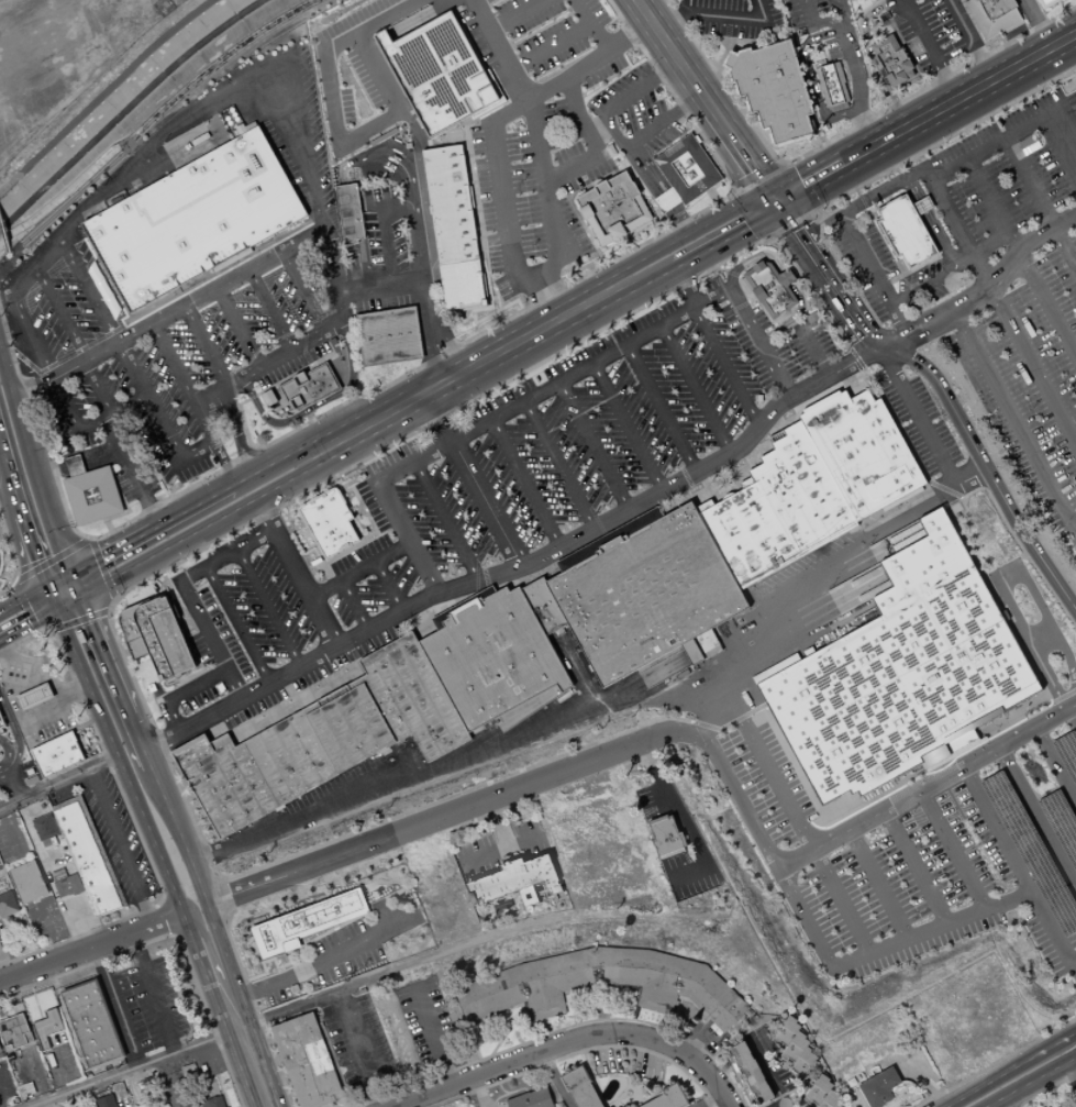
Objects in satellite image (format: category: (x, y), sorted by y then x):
building: (1047, 3)
road: (684, 7)
road: (1041, 11)
road: (514, 14)
road: (844, 14)
building: (995, 15)
road: (724, 18)
road: (591, 23)
road: (817, 23)
road: (1036, 23)
road: (726, 38)
road: (970, 38)
road: (550, 45)
road: (930, 48)
road: (500, 51)
road: (823, 51)
road: (724, 56)
road: (909, 56)
road: (872, 57)
building: (894, 60)
road: (219, 63)
road: (378, 69)
building: (440, 74)
road: (811, 77)
road: (1065, 79)
road: (329, 84)
building: (832, 85)
road: (858, 88)
building: (775, 89)
road: (624, 99)
road: (706, 99)
road: (956, 99)
road: (302, 117)
road: (664, 121)
road: (600, 131)
road: (818, 131)
road: (1018, 133)
road: (842, 135)
road: (941, 142)
road: (594, 144)
road: (653, 165)
road: (783, 165)
building: (688, 169)
road: (342, 170)
road: (643, 171)
road: (761, 178)
road: (805, 182)
road: (591, 185)
road: (735, 189)
road: (797, 190)
road: (64, 196)
road: (674, 197)
road: (714, 197)
traffic signals: (773, 200)
road: (476, 201)
building: (667, 201)
road: (665, 203)
building: (450, 204)
road: (1040, 204)
road: (62, 206)
road: (946, 206)
building: (614, 209)
road: (490, 210)
road: (678, 210)
building: (351, 212)
road: (503, 212)
road: (816, 213)
road: (756, 214)
building: (193, 220)
road: (580, 221)
road: (680, 221)
road: (791, 223)
building: (905, 232)
road: (385, 233)
road: (728, 237)
road: (679, 239)
road: (884, 239)
road: (1021, 258)
road: (752, 261)
road: (923, 264)
road: (423, 268)
road: (830, 272)
road: (215, 275)
road: (786, 279)
road: (816, 280)
road: (931, 280)
road: (378, 286)
road: (639, 287)
road: (686, 287)
building: (466, 288)
building: (773, 288)
road: (89, 290)
road: (556, 290)
road: (980, 291)
road: (304, 292)
road: (536, 301)
road: (502, 309)
road: (271, 310)
road: (62, 316)
road: (168, 316)
road: (791, 319)
road: (239, 329)
building: (389, 336)
road: (628, 344)
road: (206, 346)
road: (450, 347)
road: (813, 350)
road: (432, 355)
road: (174, 364)
road: (726, 367)
road: (7, 370)
road: (465, 370)
road: (296, 374)
road: (401, 378)
road: (56, 381)
road: (97, 388)
road: (696, 389)
building: (301, 391)
road: (7, 396)
road: (254, 397)
road: (317, 405)
road: (662, 408)
road: (1016, 418)
road: (157, 419)
road: (206, 422)
road: (244, 423)
road: (927, 424)
road: (628, 427)
road: (236, 430)
road: (594, 446)
building: (863, 451)
road: (101, 455)
road: (279, 455)
road: (224, 461)
road: (988, 462)
road: (75, 464)
building: (75, 465)
road: (559, 465)
road: (51, 471)
road: (132, 471)
road: (364, 471)
road: (10, 476)
road: (5, 478)
road: (473, 478)
road: (526, 484)
road: (38, 486)
building: (93, 495)
road: (925, 500)
road: (191, 506)
building: (779, 509)
road: (121, 514)
road: (399, 519)
road: (446, 521)
building: (329, 523)
road: (1075, 523)
road: (211, 527)
road: (955, 529)
road: (374, 538)
road: (82, 545)
road: (16, 551)
road: (34, 552)
road: (111, 552)
road: (217, 560)
road: (569, 563)
road: (519, 566)
road: (53, 569)
road: (360, 569)
road: (297, 573)
road: (156, 574)
traffic signals: (70, 576)
road: (324, 577)
road: (91, 579)
road: (59, 582)
road: (26, 586)
road: (75, 586)
road: (389, 586)
traffic signals: (48, 588)
building: (646, 590)
traffic signals: (79, 597)
road: (53, 598)
road: (24, 601)
road: (68, 602)
road: (355, 605)
road: (38, 606)
building: (545, 606)
road: (108, 607)
traffic signals: (57, 608)
road: (269, 608)
road: (77, 615)
road: (27, 621)
road: (237, 624)
road: (51, 628)
building: (157, 636)
road: (193, 651)
building: (694, 652)
building: (492, 655)
road: (103, 656)
road: (226, 669)
building: (901, 671)
building: (34, 697)
building: (0, 706)
road: (55, 706)
building: (526, 709)
gas station: (41, 712)
building: (1, 721)
building: (360, 722)
road: (729, 726)
road: (557, 727)
road: (13, 728)
road: (747, 729)
road: (140, 742)
road: (9, 748)
building: (57, 754)
road: (121, 761)
road: (634, 761)
road: (1057, 763)
road: (8, 767)
road: (895, 779)
road: (19, 781)
road: (58, 783)
building: (224, 783)
building: (37, 810)
road: (488, 816)
road: (133, 818)
road: (1039, 818)
road: (686, 822)
road: (498, 823)
road: (421, 826)
building: (47, 832)
road: (180, 835)
building: (667, 837)
road: (828, 840)
road: (121, 848)
road: (501, 850)
building: (89, 855)
building: (60, 862)
road: (917, 870)
road: (378, 875)
road: (335, 877)
road: (219, 878)
road: (375, 881)
building: (29, 882)
building: (517, 882)
building: (69, 886)
road: (413, 886)
road: (877, 887)
road: (192, 892)
road: (222, 898)
road: (278, 899)
road: (165, 900)
road: (991, 900)
building: (8, 905)
road: (840, 905)
road: (173, 917)
road: (186, 922)
building: (308, 922)
road: (201, 923)
road: (532, 923)
road: (213, 927)
road: (202, 929)
road: (941, 929)
road: (177, 934)
road: (174, 937)
road: (310, 939)
road: (300, 943)
road: (91, 949)
road: (297, 949)
road: (224, 962)
road: (203, 967)
road: (308, 968)
road: (57, 984)
road: (230, 987)
building: (511, 990)
road: (153, 994)
road: (37, 1001)
road: (119, 1006)
road: (293, 1008)
road: (508, 1009)
road: (258, 1011)
building: (93, 1023)
building: (47, 1027)
road: (563, 1030)
building: (14, 1031)
road: (433, 1034)
road: (517, 1034)
building: (58, 1039)
road: (570, 1040)
road: (699, 1042)
building: (796, 1047)
road: (359, 1049)
building: (0, 1050)
road: (247, 1052)
road: (580, 1053)
building: (308, 1061)
building: (18, 1062)
road: (997, 1062)
road: (629, 1066)
road: (1073, 1066)
road: (134, 1067)
road: (766, 1070)
road: (1012, 1070)
road: (60, 1072)
building: (753, 1072)
road: (37, 1074)
road: (556, 1080)
road: (924, 1082)
road: (167, 1083)
road: (1032, 1083)
building: (24, 1084)
building: (149, 1084)
building: (581, 1087)
building: (880, 1087)
building: (209, 1088)
road: (502, 1089)
road: (1043, 1089)
road: (224, 1091)
road: (740, 1091)
road: (479, 1092)
road: (508, 1094)
building: (823, 1094)
building: (672, 1097)
road: (897, 1097)
building: (533, 1099)
road: (709, 1099)
building: (107, 1102)
building: (214, 1102)
road: (0, 1105)
building: (145, 1106)
road: (725, 1106)
road: (783, 1106)

